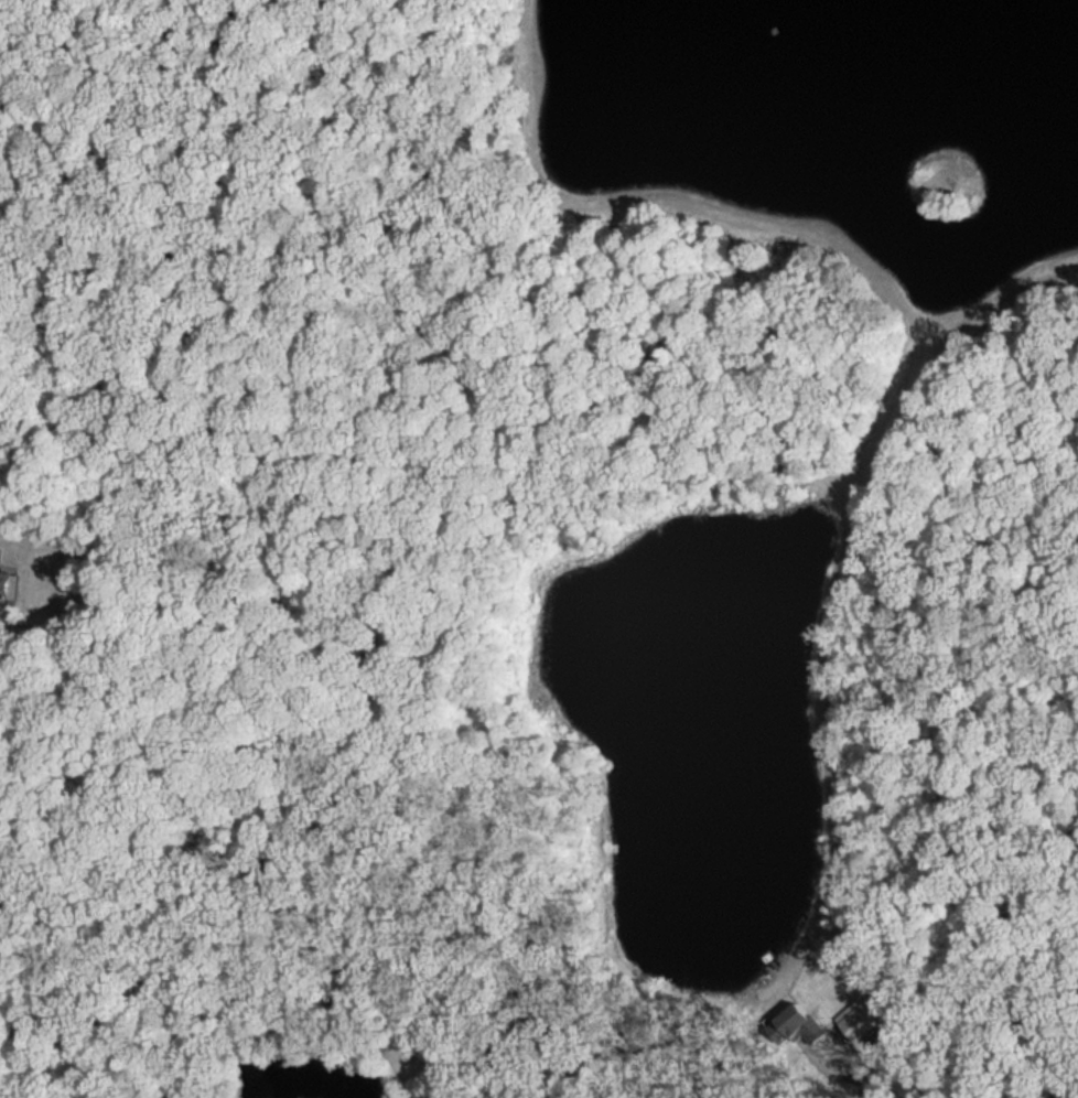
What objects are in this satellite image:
building: (6, 578)
road: (851, 1095)

